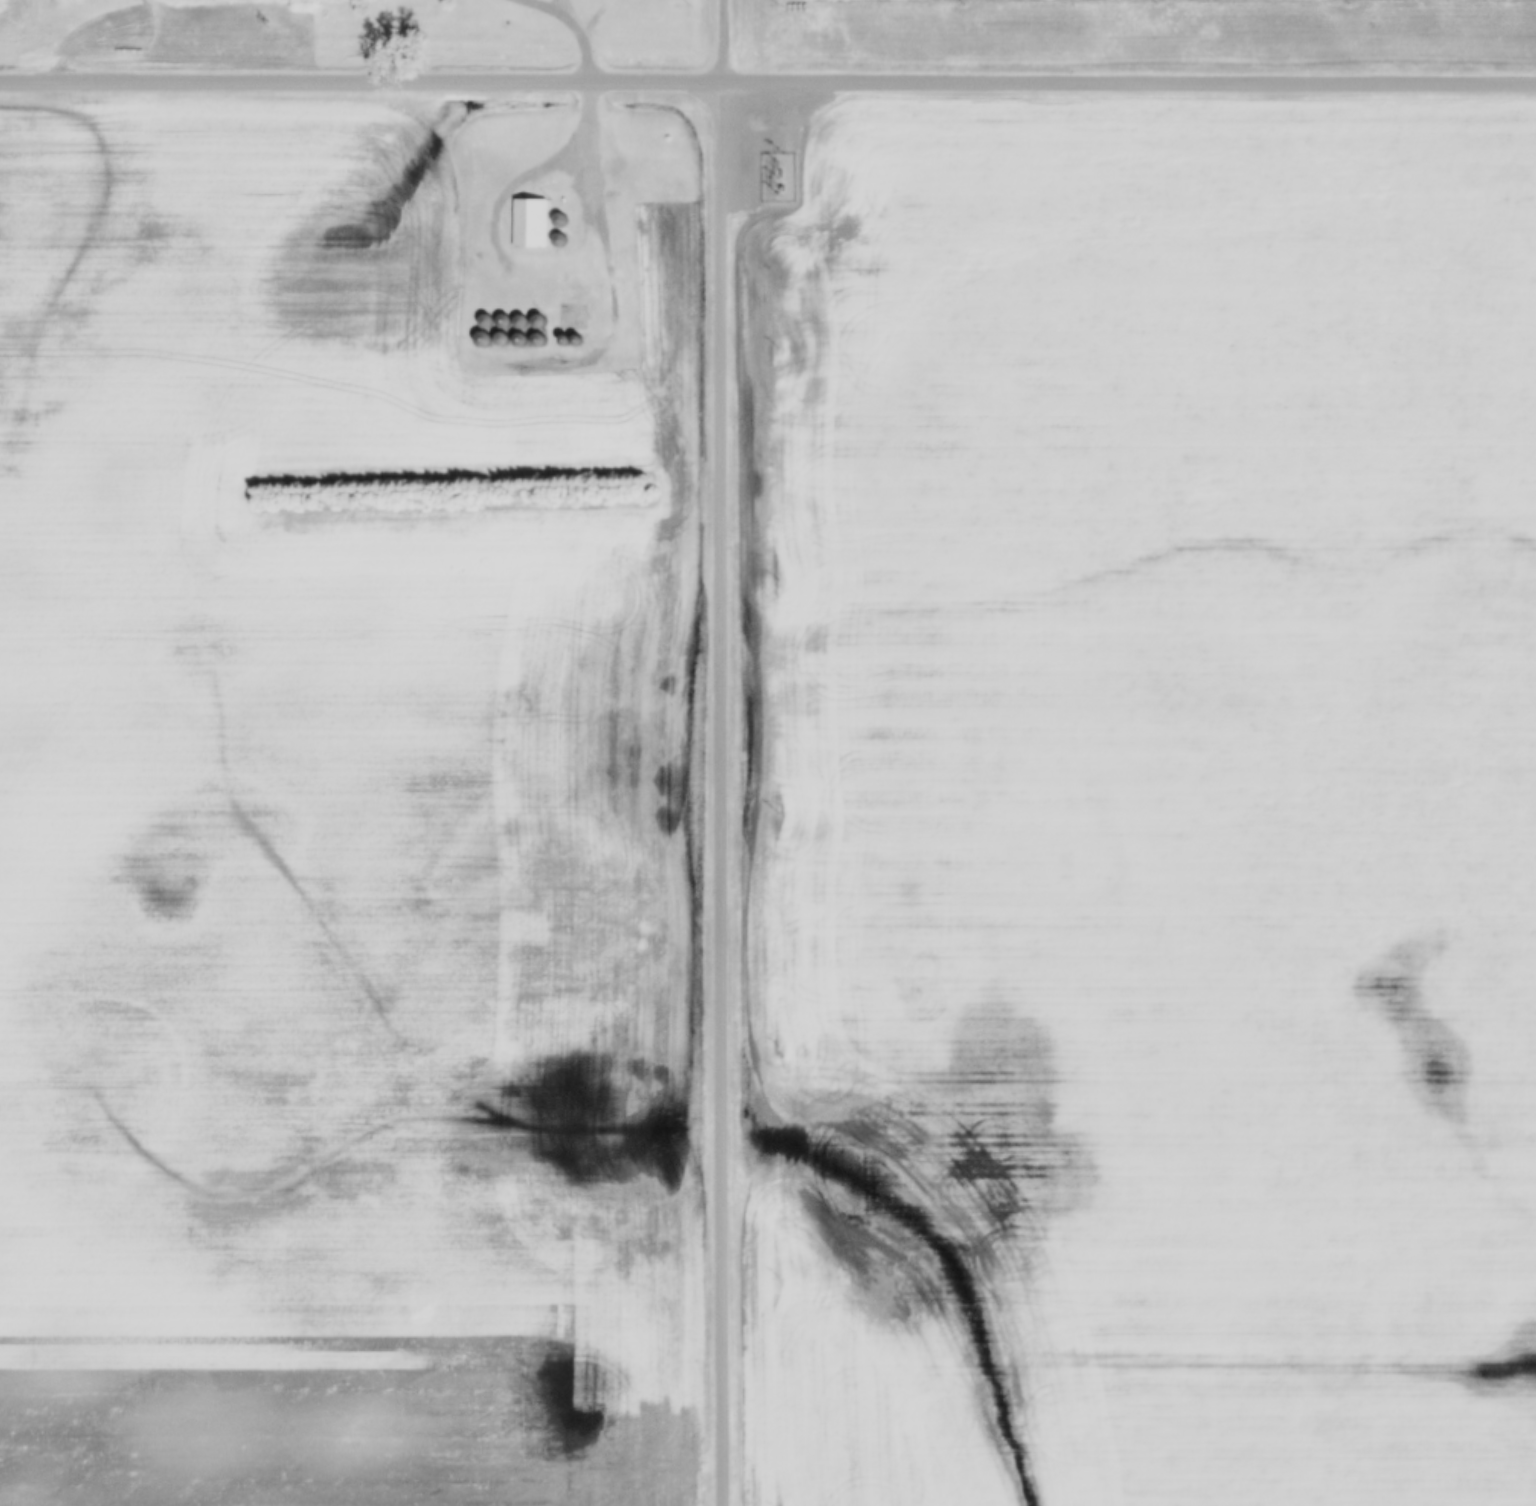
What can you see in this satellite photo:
road: (586, 36)
road: (721, 40)
road: (768, 80)
power substation: (772, 176)
road: (600, 209)
road: (723, 793)

